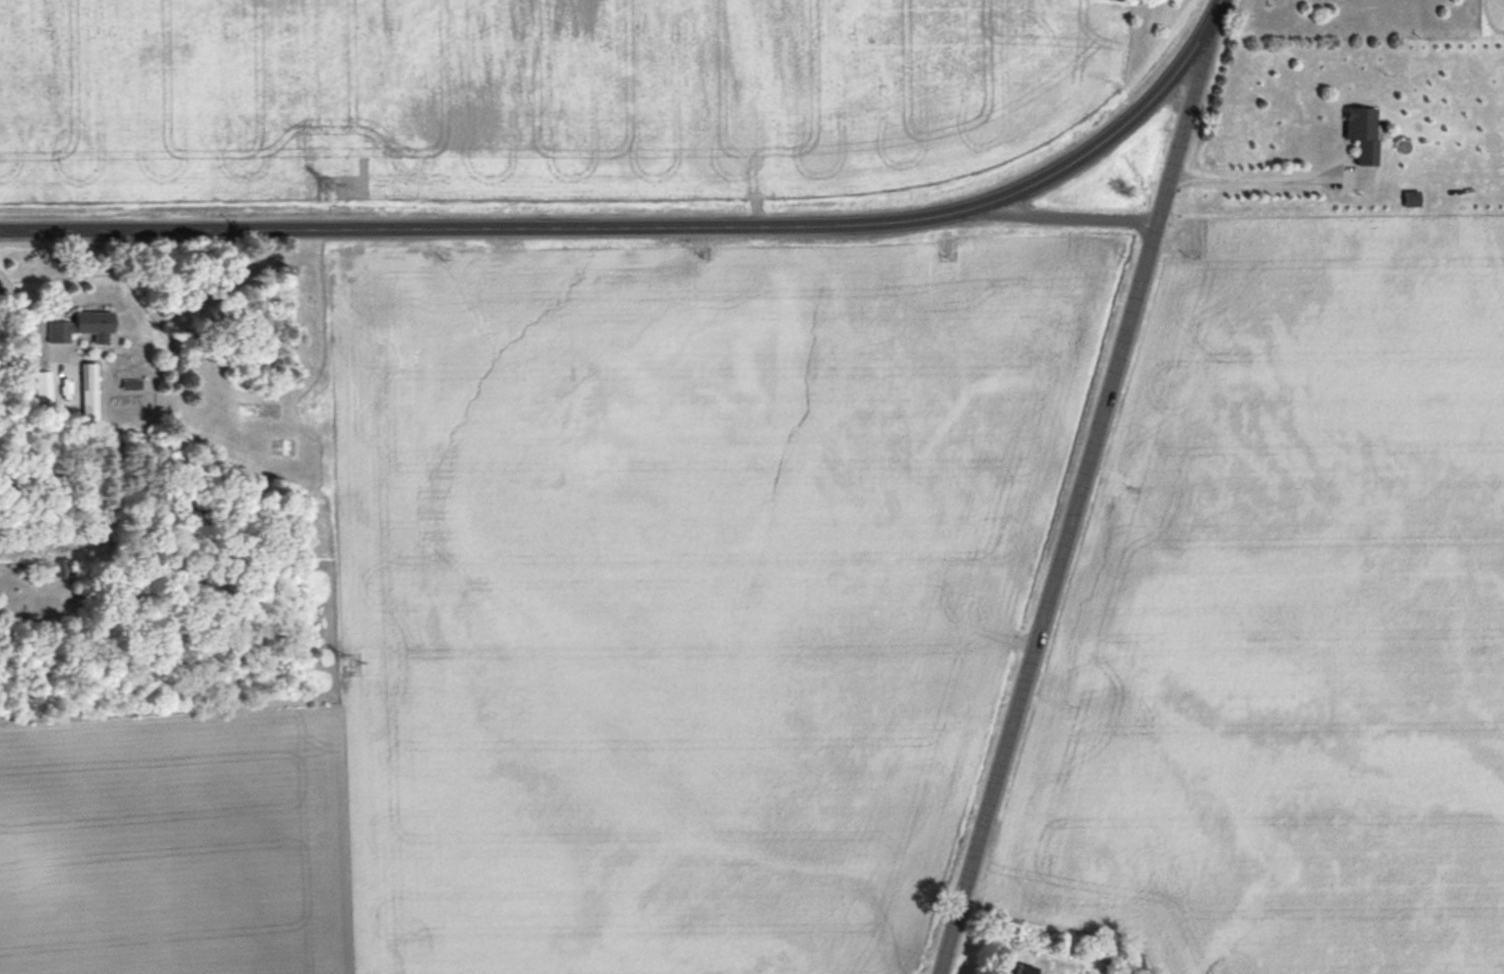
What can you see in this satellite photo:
road: (1206, 20)
building: (1364, 130)
road: (1042, 175)
road: (1246, 175)
power tower: (332, 186)
building: (1413, 196)
road: (1074, 213)
road: (421, 227)
building: (84, 326)
building: (90, 390)
road: (1072, 508)
building: (63, 566)
power tower: (350, 660)
building: (1028, 968)

